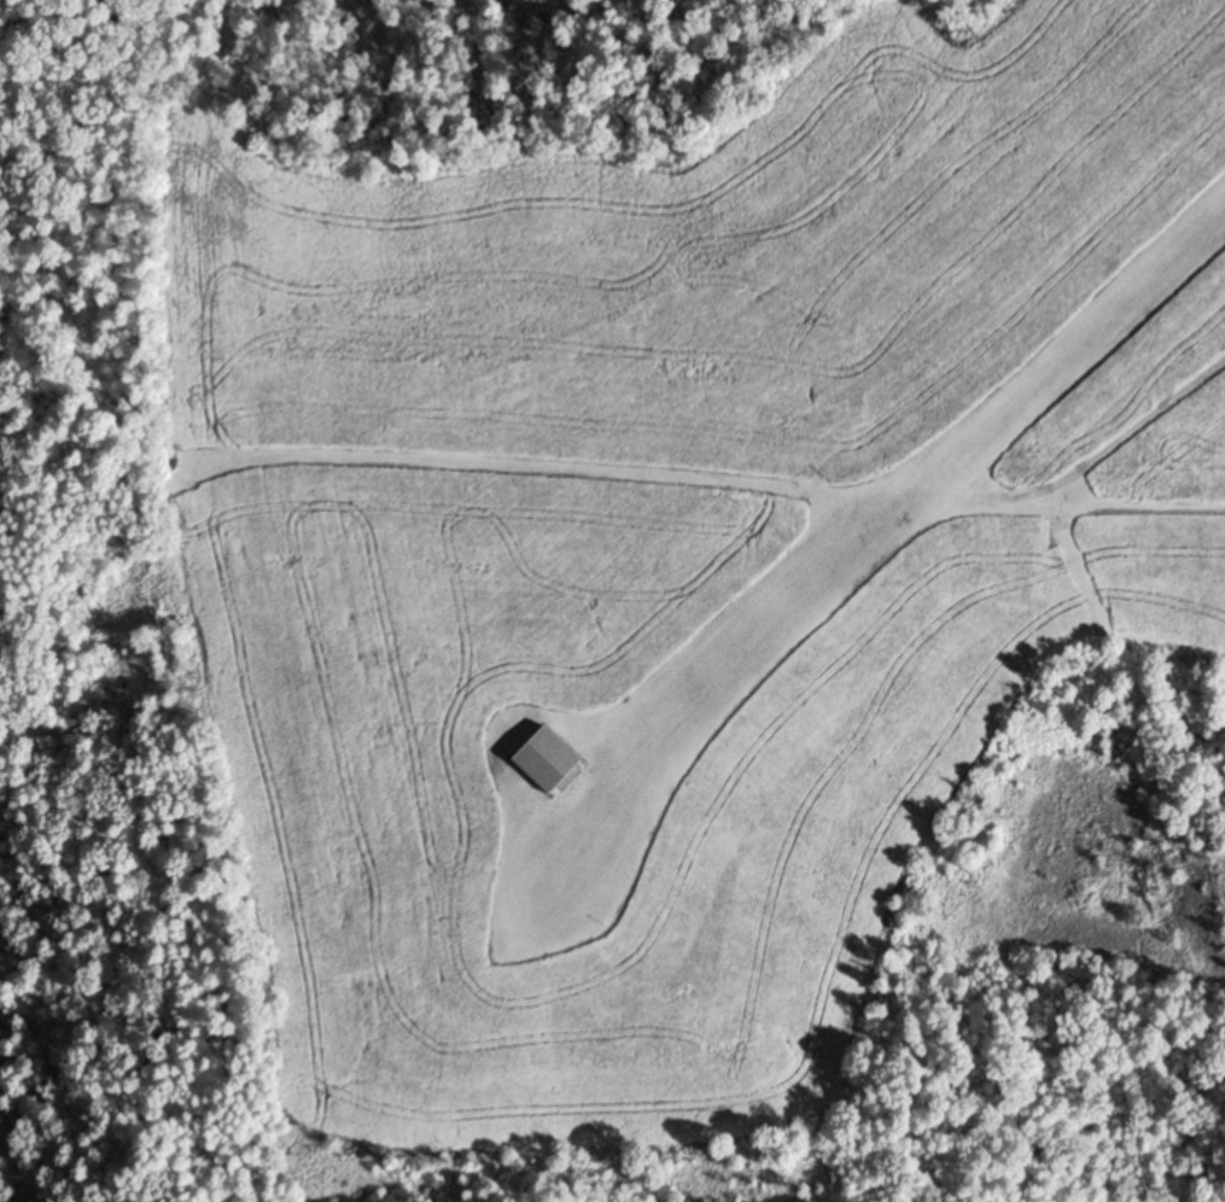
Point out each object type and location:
road: (1103, 450)
airport runway: (873, 518)
crop: (1163, 583)
building: (547, 760)
crop: (350, 792)

